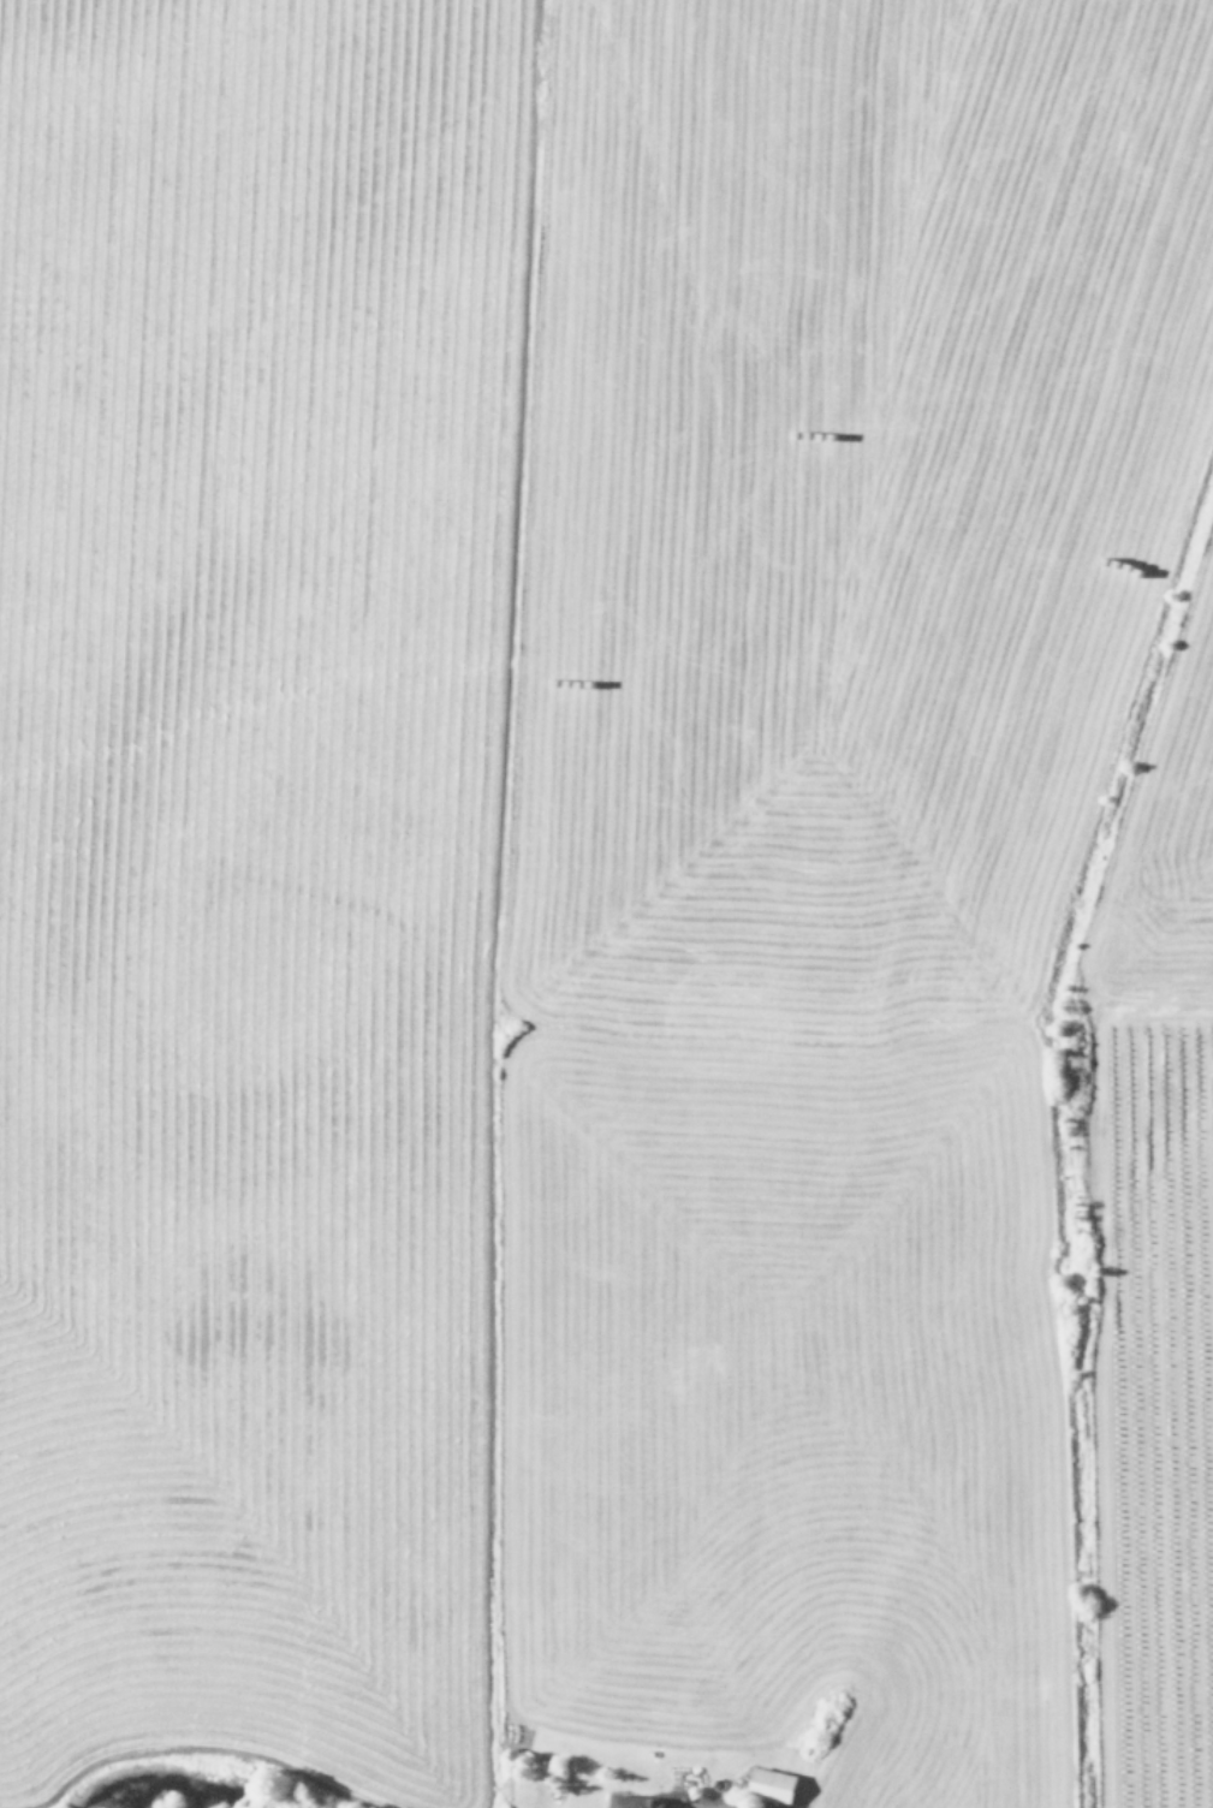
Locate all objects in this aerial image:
crop: (606, 904)
building: (766, 1784)

